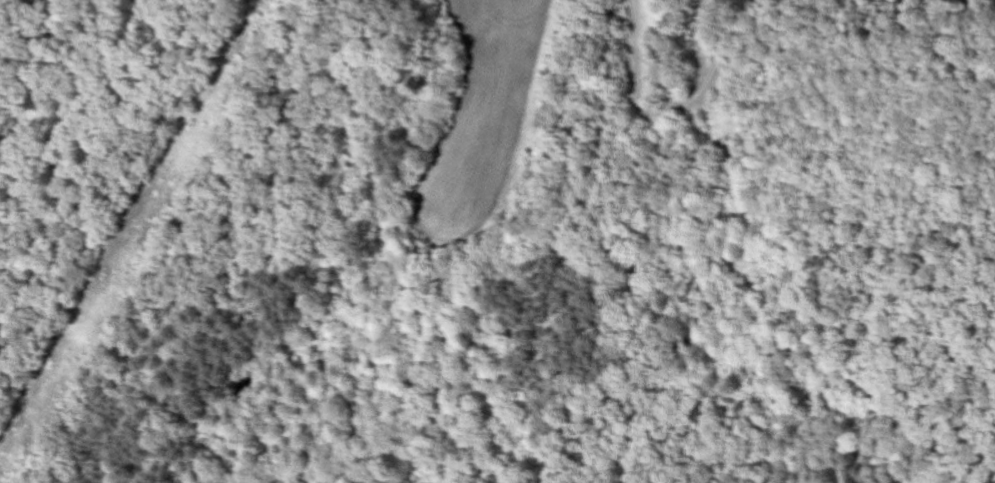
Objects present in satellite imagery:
road: (638, 55)
road: (716, 74)

